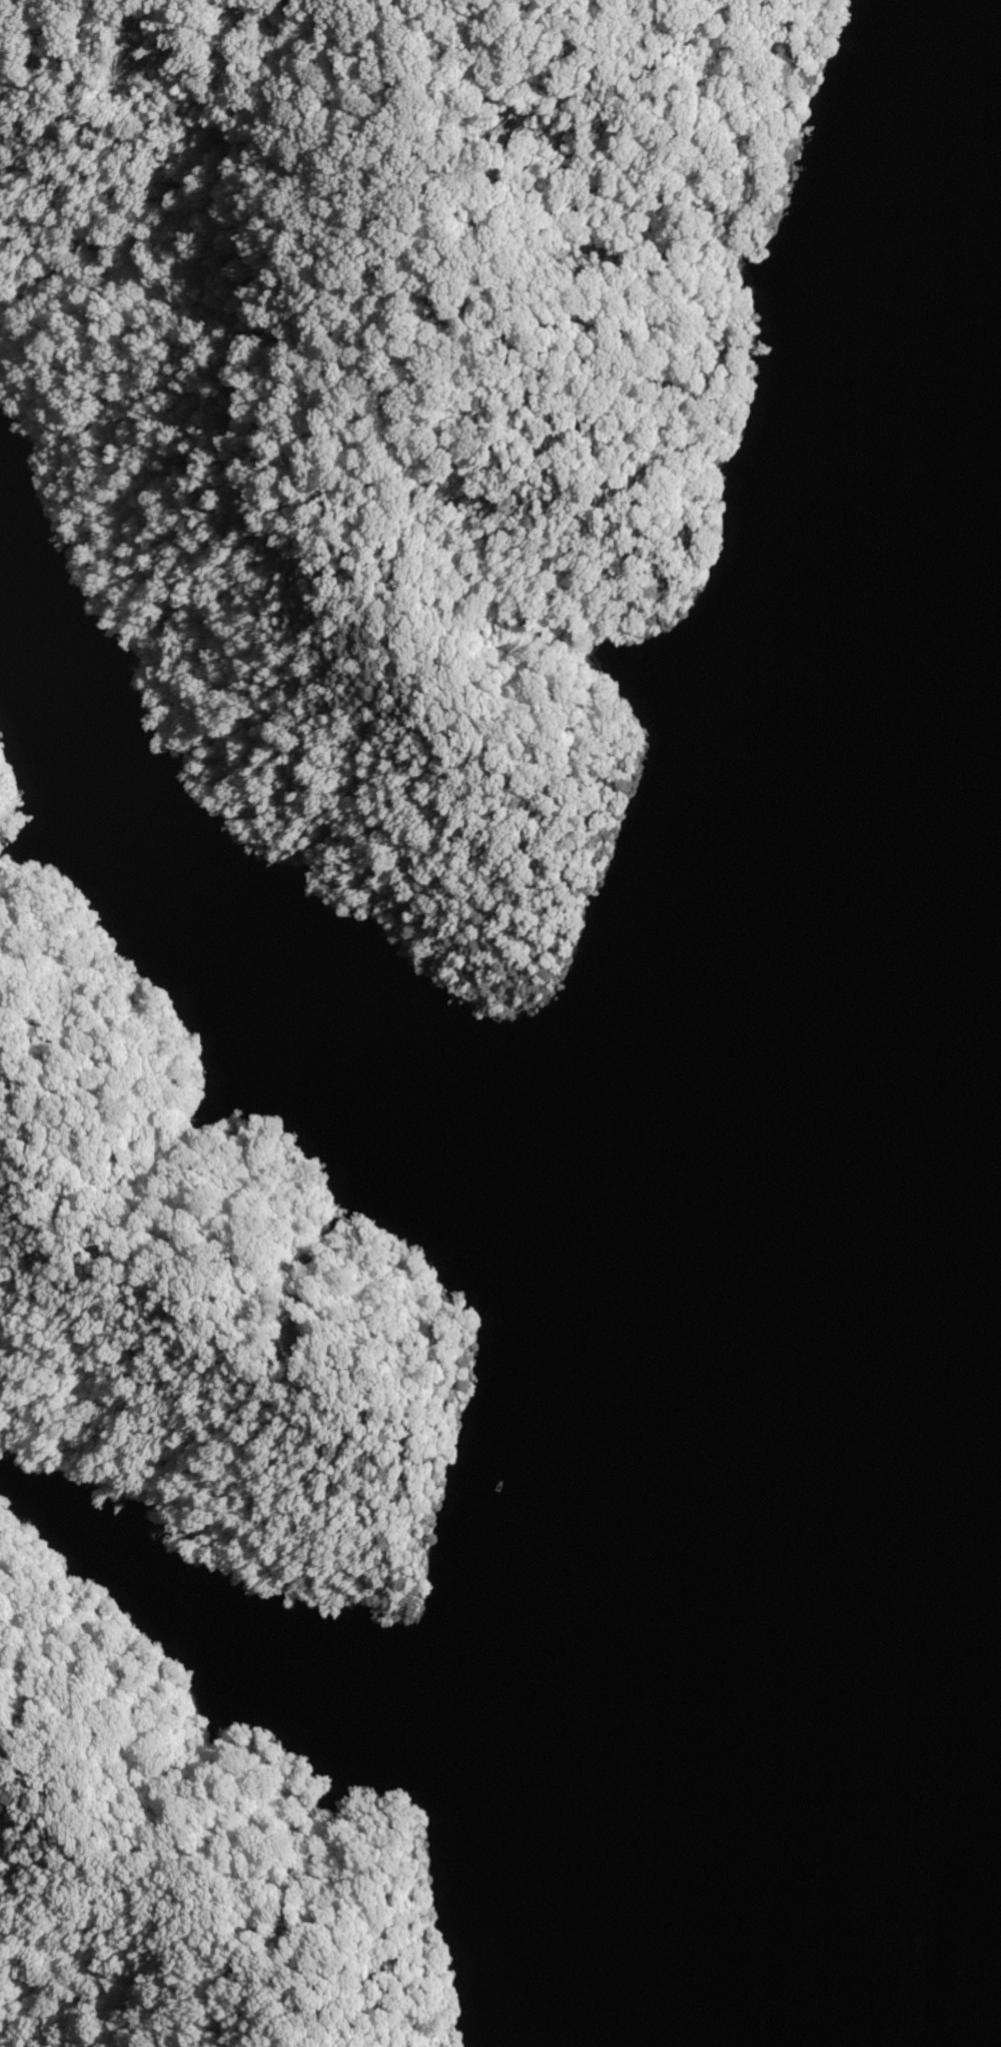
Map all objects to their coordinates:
park: (417, 70)
river: (948, 1749)

